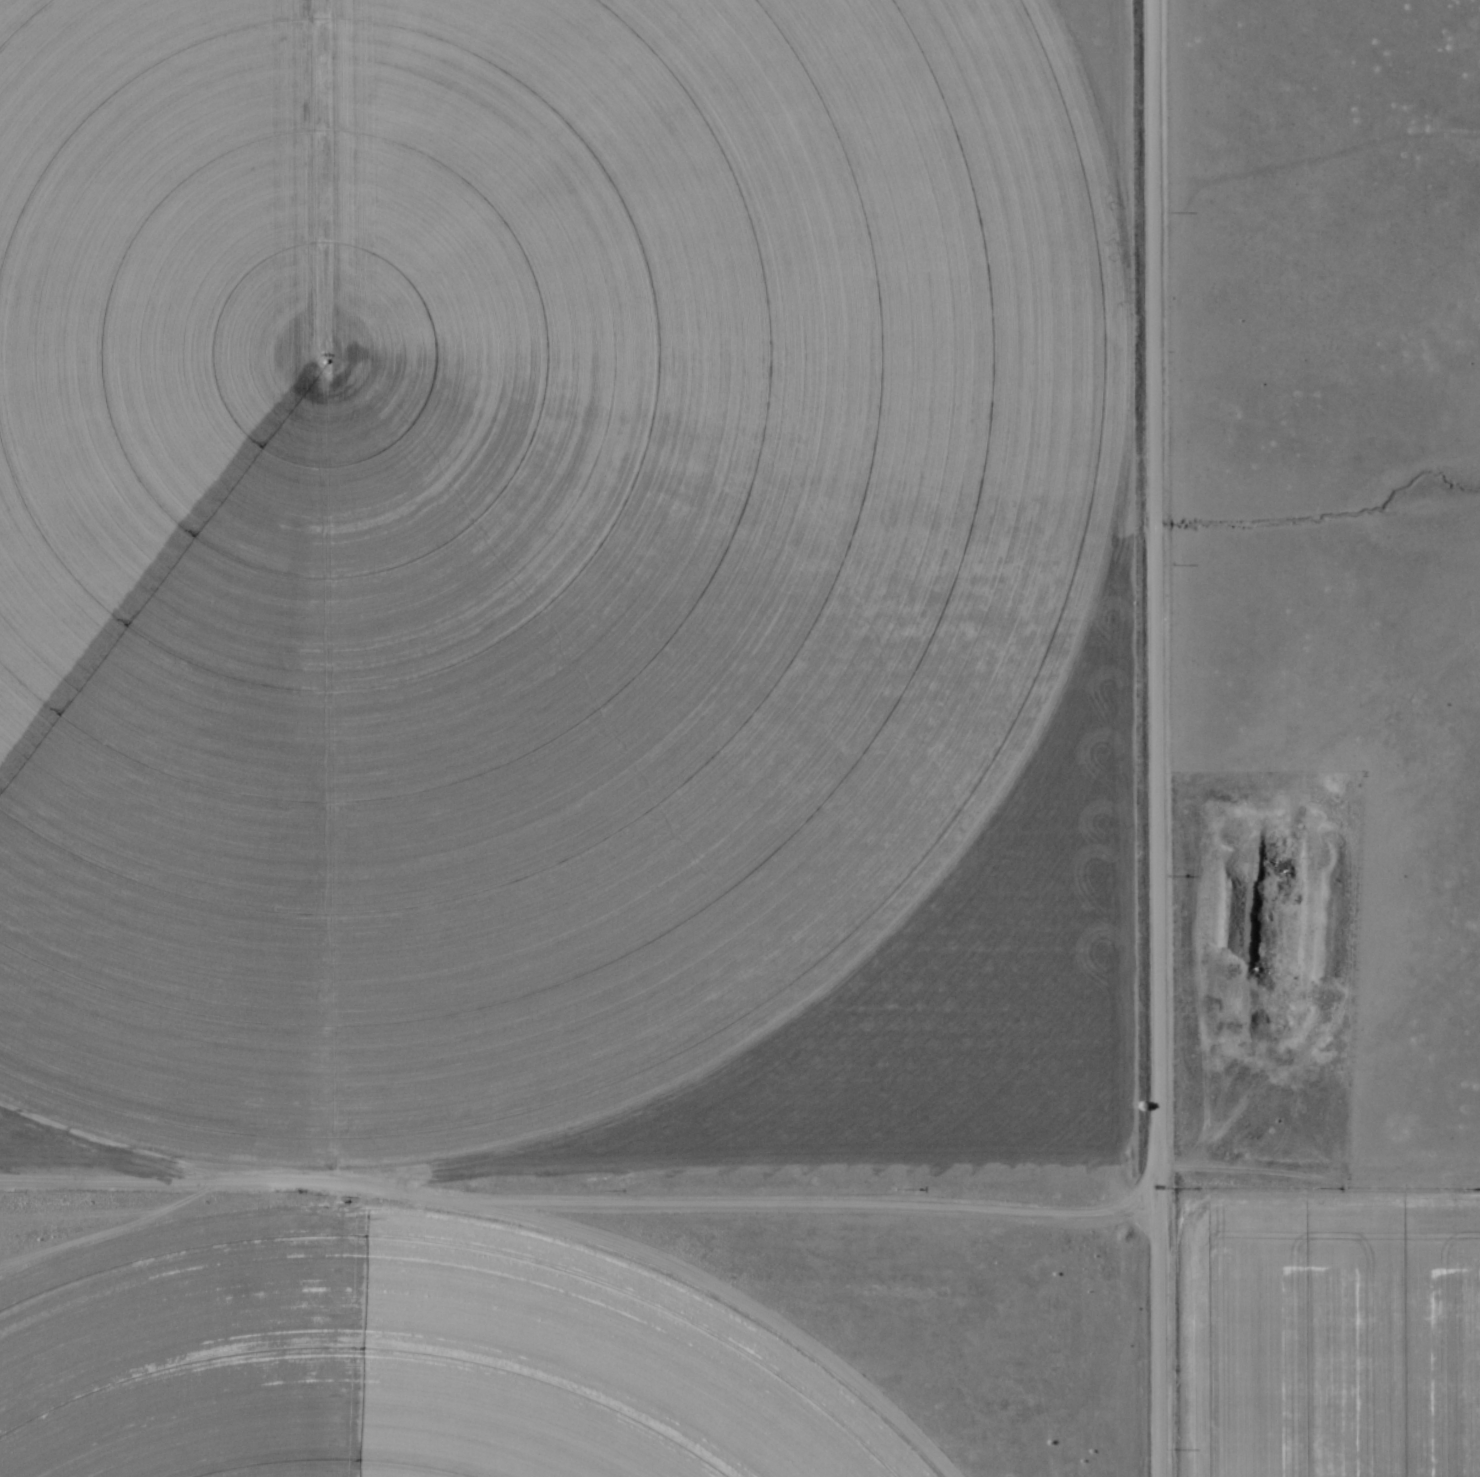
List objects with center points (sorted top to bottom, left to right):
road: (1165, 576)
road: (584, 1156)
road: (1166, 1315)

